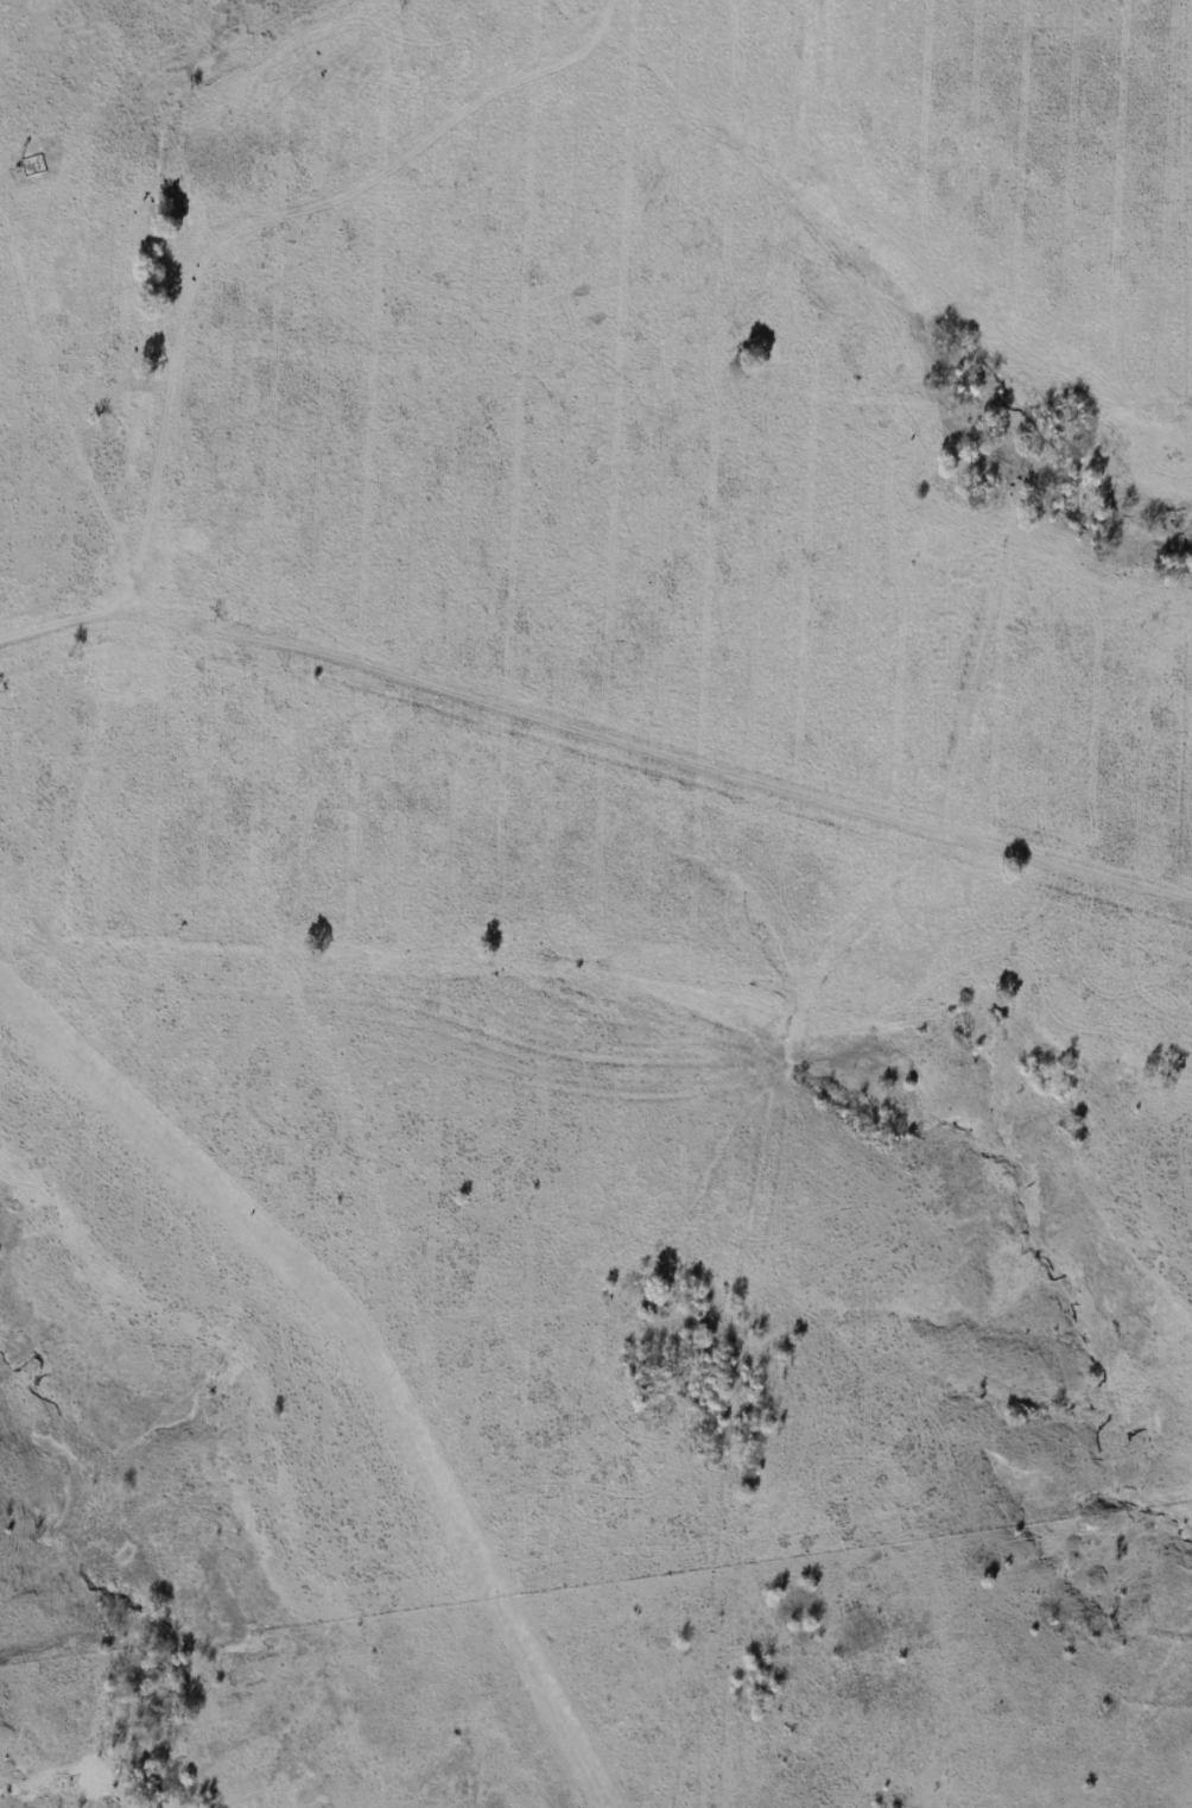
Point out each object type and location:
road: (62, 375)
road: (248, 868)

